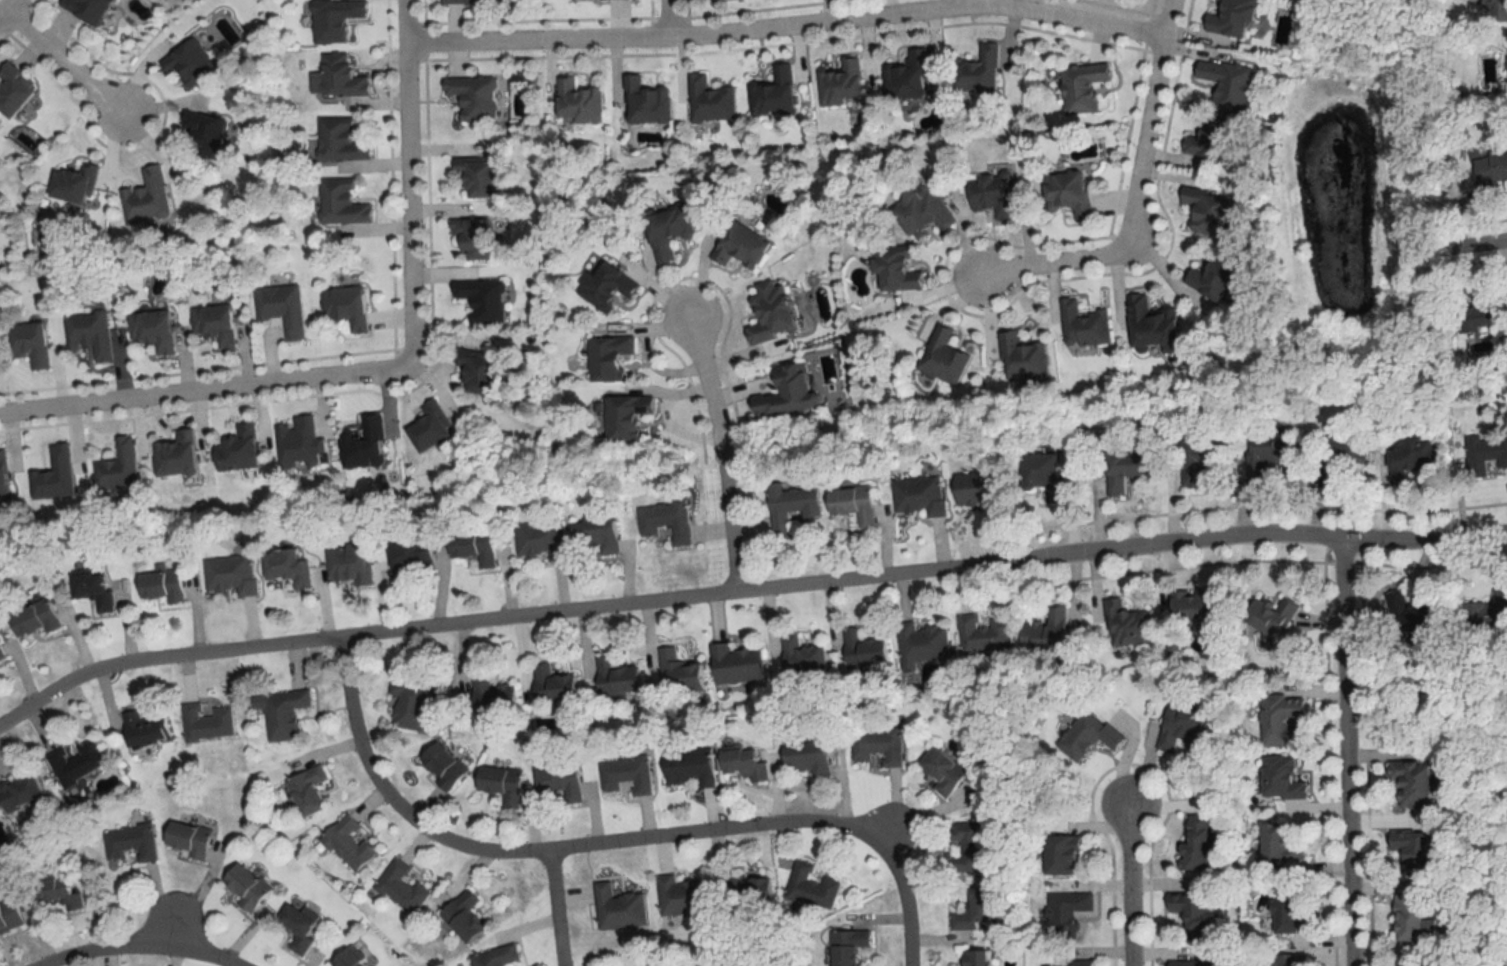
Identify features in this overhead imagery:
building: (465, 2)
road: (7, 9)
building: (92, 9)
building: (1495, 9)
road: (669, 19)
building: (1230, 19)
road: (789, 26)
road: (71, 64)
building: (975, 72)
building: (341, 76)
building: (908, 78)
building: (839, 84)
building: (1226, 84)
building: (1082, 88)
building: (17, 90)
building: (773, 93)
building: (471, 97)
building: (708, 101)
building: (576, 102)
building: (644, 102)
building: (209, 132)
building: (1209, 138)
building: (343, 140)
building: (1489, 172)
building: (473, 178)
road: (413, 180)
building: (79, 184)
building: (1067, 192)
building: (991, 195)
building: (149, 197)
road: (1141, 201)
building: (345, 202)
building: (922, 210)
building: (1205, 212)
building: (666, 230)
building: (470, 237)
building: (738, 246)
road: (1469, 246)
building: (893, 267)
road: (1165, 272)
building: (1214, 278)
building: (604, 285)
building: (480, 299)
building: (350, 307)
building: (285, 308)
building: (1479, 311)
building: (769, 313)
building: (218, 324)
building: (1150, 324)
building: (1082, 325)
building: (156, 330)
building: (93, 333)
building: (35, 344)
building: (942, 356)
building: (607, 357)
building: (1021, 358)
building: (484, 373)
road: (207, 390)
building: (785, 392)
building: (624, 416)
building: (436, 427)
building: (303, 445)
road: (717, 448)
building: (1268, 448)
building: (243, 449)
building: (1340, 453)
building: (1485, 454)
building: (181, 455)
building: (1411, 457)
building: (1198, 458)
building: (121, 467)
building: (1124, 469)
building: (5, 472)
building: (1041, 475)
building: (979, 489)
building: (918, 495)
building: (851, 504)
building: (789, 506)
building: (664, 521)
building: (601, 535)
building: (543, 539)
building: (478, 548)
building: (413, 556)
building: (351, 564)
building: (290, 568)
building: (233, 575)
building: (165, 586)
building: (96, 590)
road: (745, 594)
building: (1192, 606)
building: (1267, 615)
building: (1488, 615)
building: (1413, 616)
building: (39, 618)
building: (1124, 623)
building: (1044, 630)
building: (983, 632)
building: (920, 644)
building: (862, 649)
building: (2, 651)
building: (801, 656)
building: (733, 664)
building: (678, 672)
building: (614, 677)
building: (551, 687)
building: (489, 699)
building: (408, 702)
building: (285, 713)
building: (1278, 719)
building: (209, 723)
building: (1181, 726)
building: (148, 729)
building: (1088, 735)
building: (876, 746)
road: (1345, 753)
building: (805, 759)
building: (78, 762)
building: (738, 762)
building: (439, 766)
building: (688, 766)
building: (941, 770)
building: (624, 774)
building: (1280, 778)
building: (558, 781)
building: (1410, 782)
building: (499, 784)
building: (305, 790)
building: (22, 792)
building: (193, 839)
building: (1196, 841)
building: (132, 844)
building: (346, 844)
road: (606, 844)
building: (1277, 847)
building: (965, 848)
building: (1414, 851)
building: (1059, 855)
road: (1130, 881)
building: (242, 886)
building: (810, 886)
building: (400, 887)
building: (749, 891)
building: (65, 894)
building: (680, 896)
building: (616, 908)
road: (554, 909)
building: (972, 909)
building: (1284, 912)
building: (1064, 914)
building: (1192, 914)
building: (11, 916)
building: (461, 916)
building: (1410, 919)
building: (295, 926)
building: (845, 946)
road: (139, 947)
building: (493, 957)
building: (973, 957)
building: (344, 959)
building: (1286, 959)
building: (1191, 963)
building: (1068, 964)

